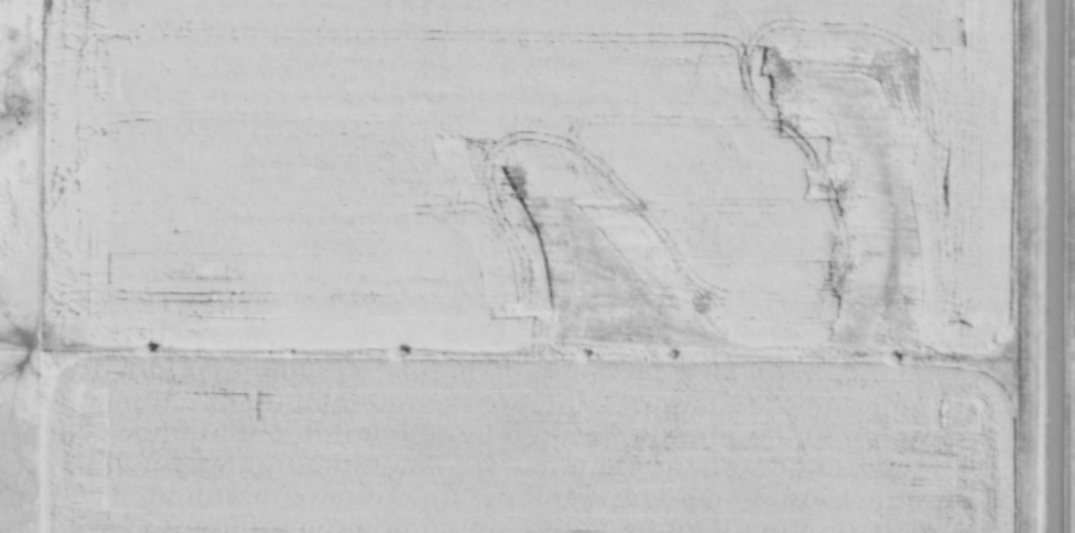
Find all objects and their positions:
road: (1055, 266)

